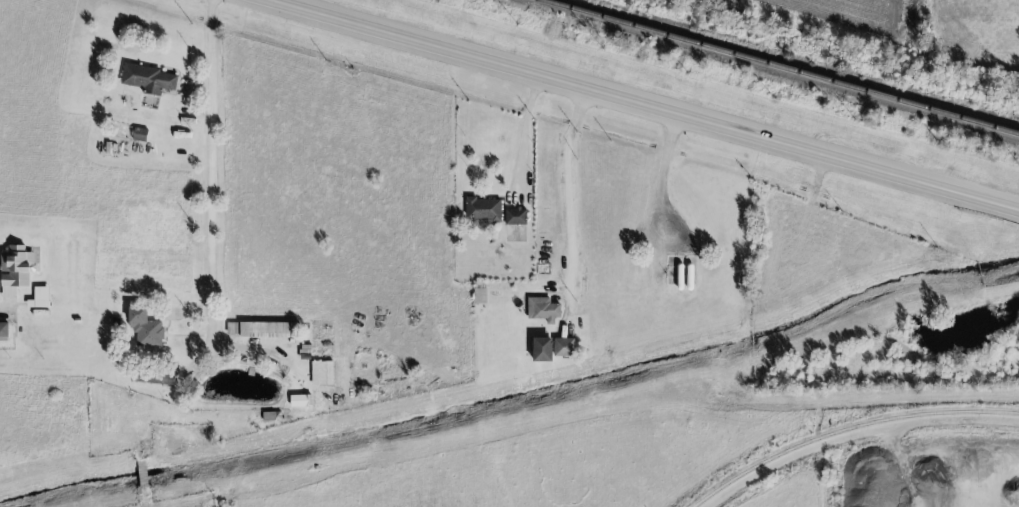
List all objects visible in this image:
railway: (777, 67)
building: (147, 80)
road: (640, 106)
road: (522, 131)
building: (139, 135)
road: (219, 148)
road: (579, 182)
building: (482, 210)
building: (514, 217)
building: (17, 268)
building: (479, 295)
building: (41, 297)
building: (543, 312)
building: (144, 329)
building: (261, 330)
building: (3, 333)
building: (563, 348)
building: (541, 350)
building: (321, 374)
building: (300, 402)
railway: (847, 430)

